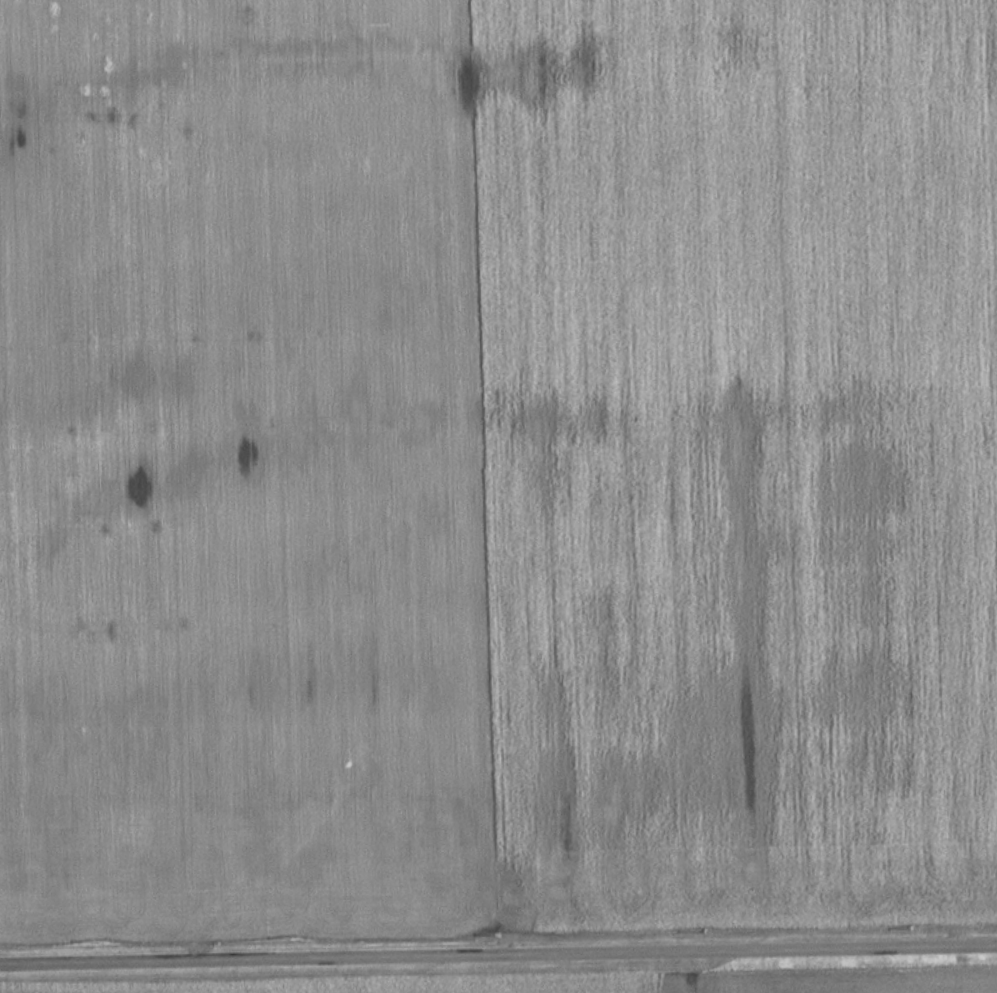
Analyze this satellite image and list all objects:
road: (498, 952)

